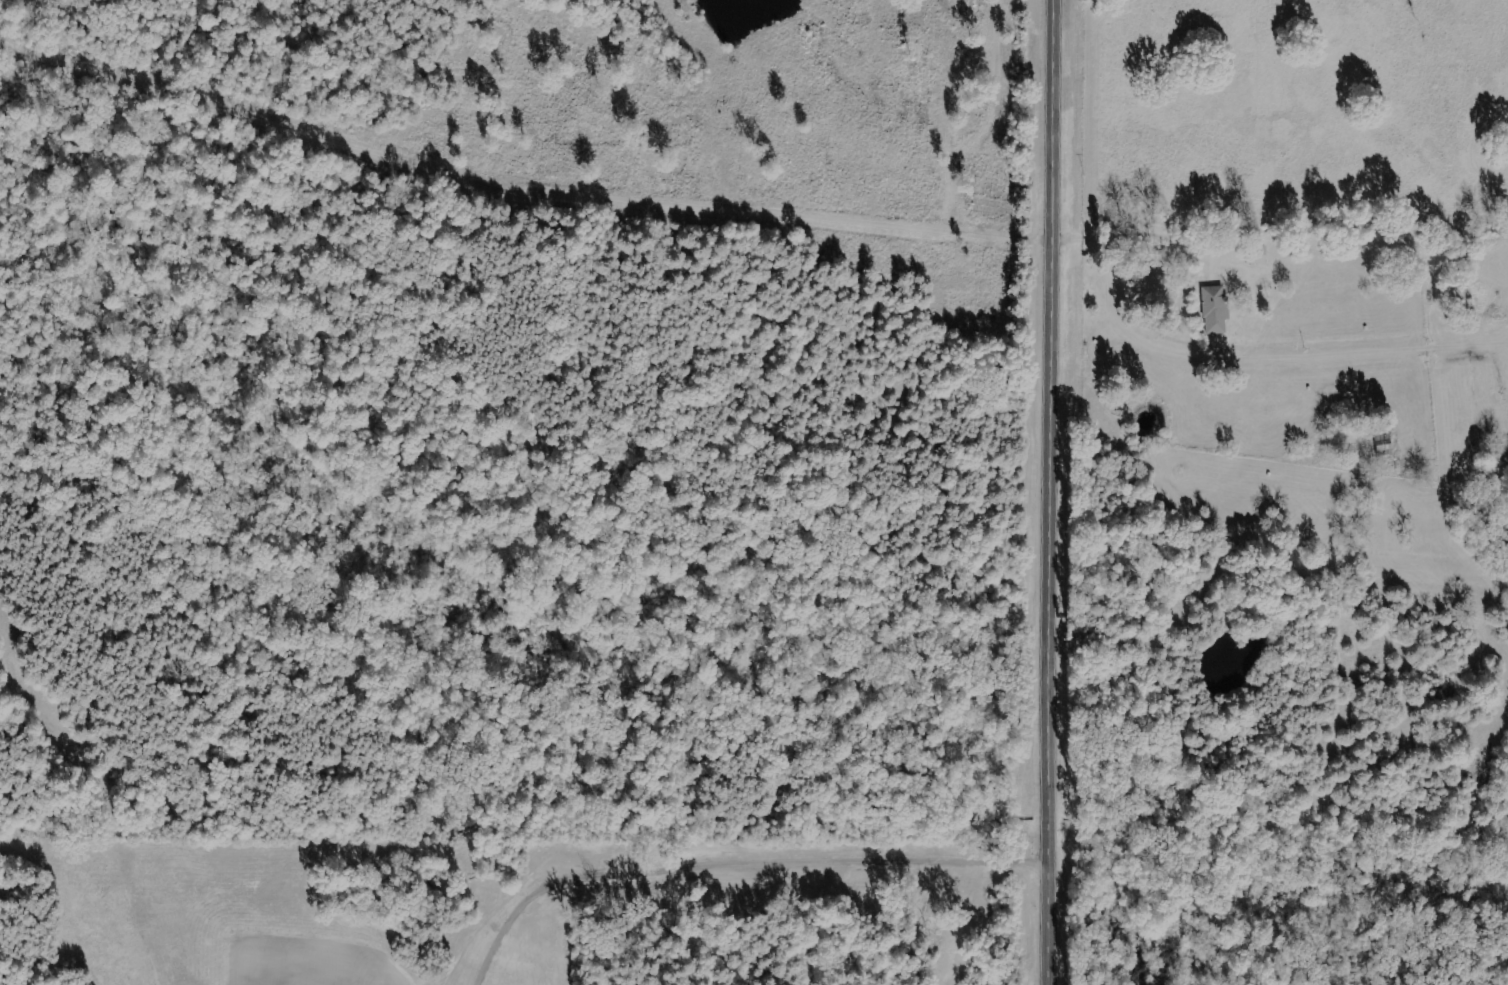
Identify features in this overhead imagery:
building: (1258, 253)
building: (1216, 308)
road: (1046, 492)

